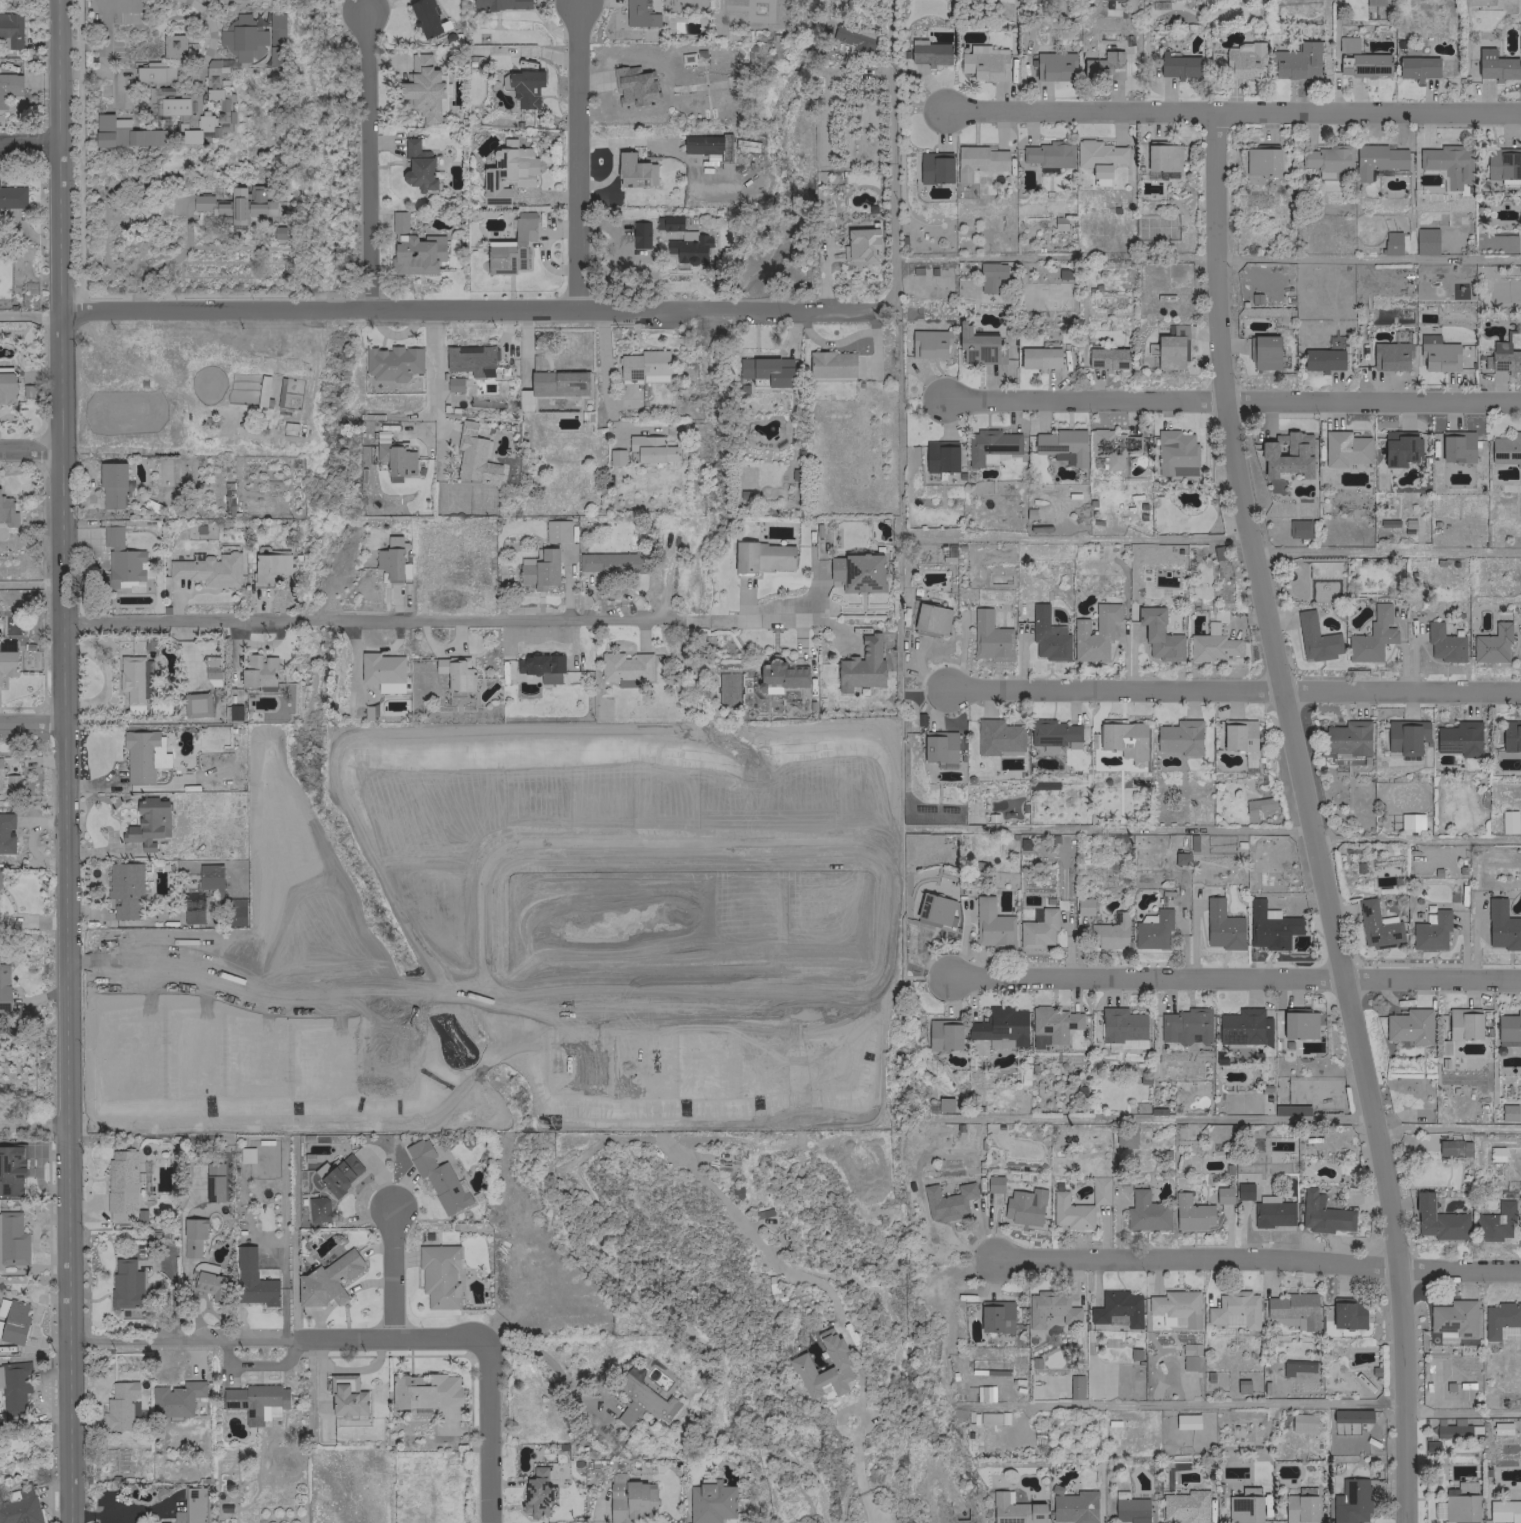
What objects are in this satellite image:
building: (1003, 0)
building: (1374, 2)
building: (500, 4)
building: (641, 12)
building: (425, 18)
road: (102, 23)
building: (275, 28)
building: (10, 30)
building: (853, 36)
building: (243, 41)
road: (82, 43)
building: (1347, 44)
building: (173, 45)
building: (930, 53)
building: (1243, 60)
building: (1296, 61)
building: (984, 62)
building: (1053, 65)
building: (1178, 65)
building: (1363, 65)
building: (1495, 65)
building: (1103, 67)
building: (1416, 67)
road: (82, 72)
building: (154, 73)
road: (117, 82)
building: (9, 86)
building: (634, 86)
building: (525, 87)
building: (423, 88)
building: (173, 106)
road: (1233, 109)
building: (209, 118)
building: (123, 132)
road: (30, 144)
building: (708, 145)
road: (578, 153)
building: (1049, 154)
road: (366, 156)
building: (1098, 156)
building: (1162, 157)
building: (1326, 159)
building: (1376, 159)
building: (1261, 160)
building: (978, 161)
building: (1448, 163)
building: (1503, 163)
building: (417, 166)
building: (935, 167)
building: (634, 171)
building: (507, 172)
road: (891, 186)
building: (12, 196)
building: (236, 204)
building: (1519, 215)
building: (668, 222)
building: (639, 234)
building: (1425, 241)
building: (1391, 243)
building: (860, 245)
building: (511, 246)
building: (687, 248)
building: (413, 249)
road: (1368, 257)
building: (990, 276)
road: (468, 306)
building: (1334, 342)
building: (929, 343)
building: (978, 346)
building: (1170, 347)
building: (1263, 352)
building: (1390, 355)
building: (1439, 356)
building: (1039, 357)
building: (1504, 357)
building: (1107, 358)
building: (471, 359)
building: (1321, 359)
road: (431, 360)
building: (391, 362)
building: (831, 364)
building: (644, 366)
building: (767, 370)
road: (603, 378)
building: (454, 384)
building: (7, 387)
road: (1234, 400)
building: (1062, 445)
building: (990, 446)
building: (1111, 446)
building: (1456, 446)
road: (30, 447)
building: (1398, 447)
building: (651, 448)
building: (1344, 448)
building: (1506, 449)
building: (1175, 453)
building: (474, 455)
building: (615, 456)
building: (940, 456)
building: (1288, 456)
building: (395, 460)
building: (112, 478)
building: (7, 512)
building: (1388, 523)
building: (1298, 528)
building: (556, 530)
building: (122, 557)
building: (761, 557)
building: (389, 563)
building: (612, 563)
building: (270, 566)
building: (209, 569)
building: (540, 570)
building: (857, 572)
road: (435, 619)
building: (931, 619)
building: (1094, 633)
building: (1159, 635)
building: (1047, 636)
building: (1372, 636)
building: (989, 637)
building: (1315, 638)
building: (1492, 641)
building: (1443, 643)
building: (1211, 645)
building: (7, 658)
building: (539, 664)
building: (861, 665)
building: (381, 668)
building: (625, 668)
building: (257, 672)
building: (782, 674)
building: (134, 678)
building: (390, 687)
road: (1234, 689)
building: (198, 704)
building: (232, 712)
road: (33, 720)
building: (1053, 734)
building: (1238, 734)
building: (1405, 736)
building: (997, 737)
building: (1179, 737)
building: (1347, 738)
building: (1459, 738)
building: (1124, 740)
building: (939, 747)
building: (143, 755)
road: (66, 761)
building: (0, 775)
building: (11, 785)
building: (1257, 805)
road: (1310, 815)
building: (1410, 821)
building: (1508, 821)
building: (148, 823)
building: (6, 832)
building: (1180, 858)
building: (210, 878)
building: (1261, 879)
building: (124, 889)
building: (1083, 906)
building: (192, 908)
building: (935, 910)
building: (236, 911)
building: (992, 925)
building: (1502, 925)
building: (1221, 926)
building: (1270, 926)
building: (1376, 926)
building: (1037, 929)
building: (1153, 931)
building: (1430, 931)
building: (1110, 932)
crop: (525, 937)
road: (1236, 976)
building: (655, 982)
building: (4, 988)
road: (523, 991)
building: (1463, 1023)
building: (1299, 1024)
building: (1053, 1025)
building: (1185, 1026)
building: (1409, 1026)
building: (1121, 1027)
building: (1243, 1027)
building: (1000, 1028)
building: (1509, 1028)
building: (702, 1033)
building: (943, 1034)
building: (629, 1079)
building: (944, 1104)
building: (1290, 1110)
building: (1508, 1112)
road: (34, 1126)
building: (1124, 1137)
building: (1453, 1147)
building: (1495, 1153)
building: (246, 1154)
building: (11, 1169)
building: (340, 1175)
building: (437, 1177)
building: (121, 1181)
building: (993, 1184)
building: (1099, 1190)
building: (1243, 1190)
building: (1222, 1195)
building: (947, 1201)
building: (1024, 1206)
building: (318, 1209)
building: (1070, 1212)
building: (1145, 1212)
building: (1271, 1212)
building: (1190, 1213)
building: (1322, 1214)
building: (1438, 1220)
building: (1495, 1222)
building: (192, 1236)
building: (12, 1239)
road: (1262, 1257)
road: (393, 1273)
building: (439, 1275)
building: (328, 1278)
building: (252, 1280)
building: (125, 1283)
building: (208, 1283)
building: (1117, 1307)
building: (1049, 1308)
building: (1176, 1308)
building: (1233, 1309)
building: (1293, 1310)
building: (1347, 1312)
building: (995, 1316)
building: (1453, 1317)
building: (1501, 1319)
building: (14, 1322)
road: (184, 1337)
road: (393, 1338)
building: (1189, 1355)
building: (837, 1362)
road: (553, 1365)
building: (1296, 1366)
building: (1075, 1386)
building: (1242, 1386)
building: (14, 1387)
building: (426, 1391)
building: (984, 1393)
building: (346, 1396)
building: (175, 1398)
building: (641, 1400)
building: (255, 1402)
building: (122, 1407)
building: (1351, 1415)
building: (1186, 1420)
building: (1302, 1422)
building: (1499, 1427)
building: (1452, 1428)
road: (491, 1431)
road: (857, 1472)
building: (536, 1492)
building: (630, 1500)
building: (1350, 1501)
building: (710, 1502)
building: (1459, 1504)
building: (191, 1506)
building: (1074, 1506)
building: (1185, 1506)
building: (19, 1507)
building: (1129, 1508)
building: (1299, 1508)
building: (1014, 1509)
building: (1243, 1509)
building: (1504, 1511)
road: (116, 1512)
building: (163, 1522)

